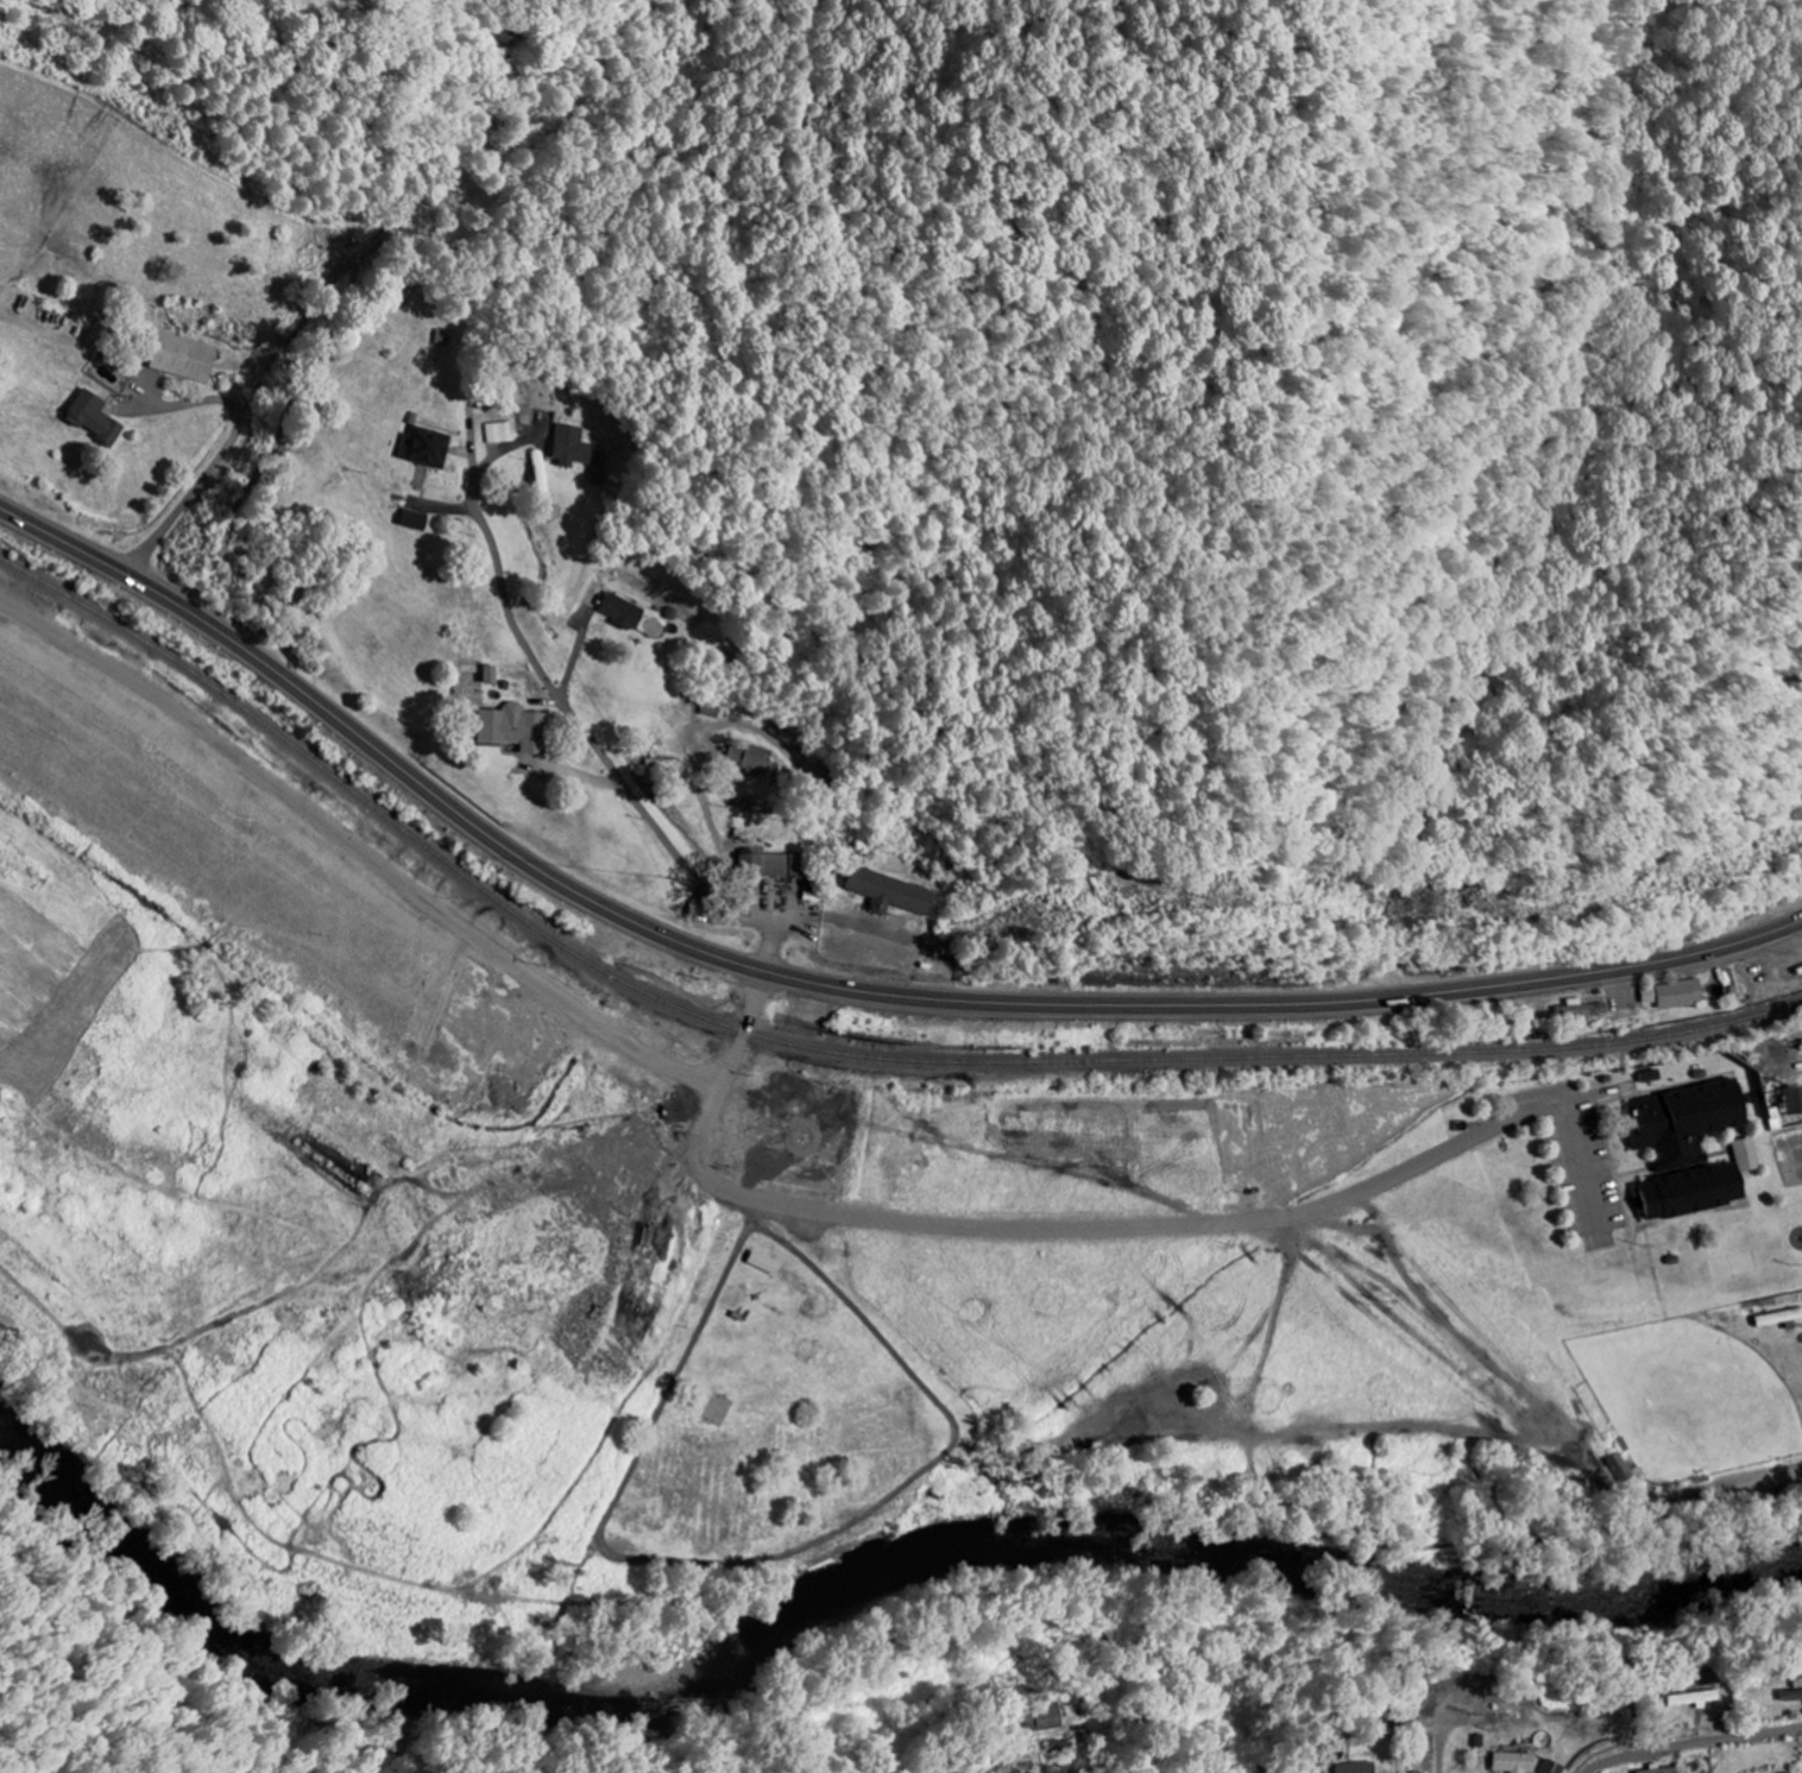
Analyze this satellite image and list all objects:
building: (181, 357)
building: (92, 418)
building: (497, 433)
building: (422, 447)
building: (569, 447)
road: (219, 460)
building: (410, 520)
building: (622, 612)
building: (489, 674)
road: (579, 724)
building: (509, 728)
building: (756, 761)
road: (358, 845)
building: (774, 865)
building: (890, 892)
road: (837, 986)
building: (1675, 993)
building: (1583, 1011)
railway: (831, 1049)
building: (1794, 1100)
building: (1693, 1149)
road: (1422, 1165)
road: (883, 1219)
building: (765, 1263)
building: (1778, 1318)
park: (774, 1424)
building: (1620, 1468)
river: (850, 1573)
building: (1800, 1681)
building: (1696, 1698)
building: (1044, 1718)
road: (1017, 1743)
road: (1696, 1743)
building: (1060, 1747)
building: (1517, 1762)
building: (1357, 1767)
building: (1554, 1767)
building: (1659, 1769)

